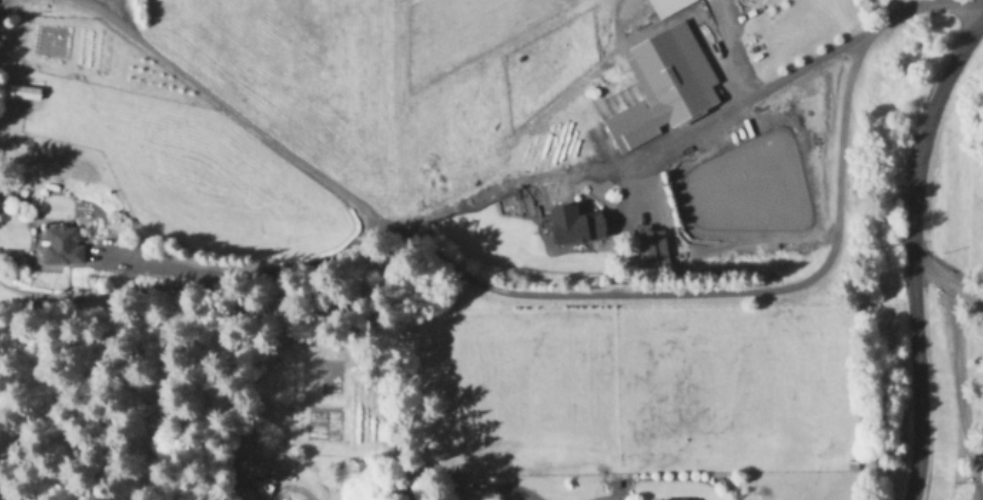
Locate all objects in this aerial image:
road: (2, 2)
building: (665, 6)
building: (662, 84)
building: (25, 91)
road: (559, 189)
building: (572, 224)
building: (61, 244)
building: (651, 245)
road: (910, 250)
road: (535, 290)
road: (954, 374)
building: (262, 467)
road: (305, 497)
building: (664, 498)

